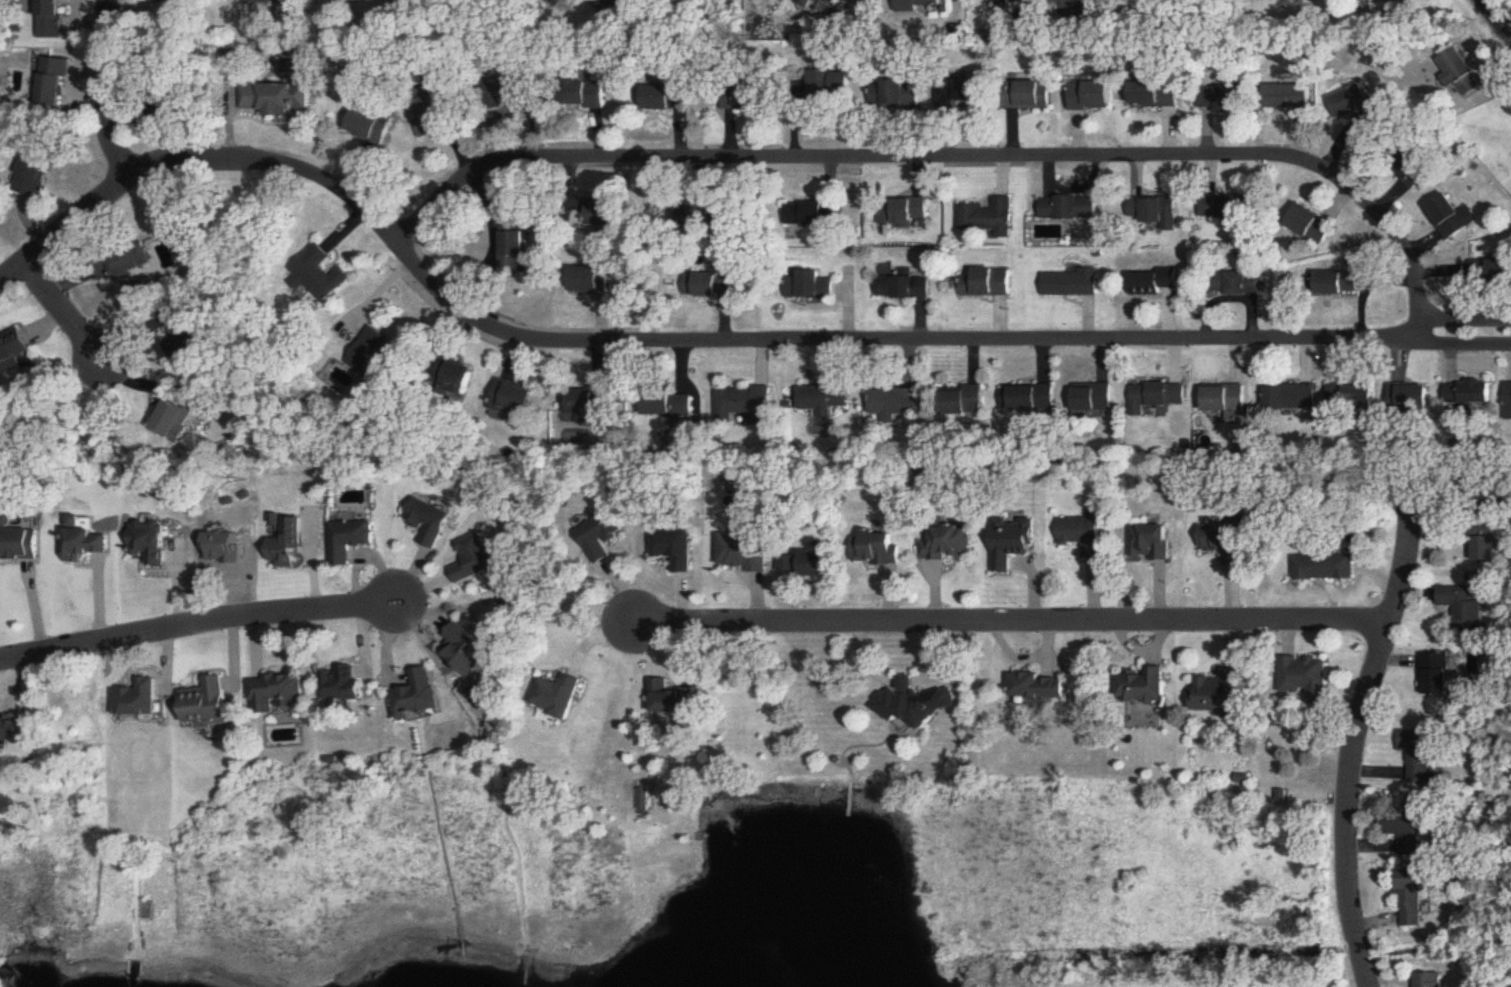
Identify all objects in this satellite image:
building: (1395, 0)
building: (272, 2)
building: (1075, 2)
building: (172, 3)
building: (838, 3)
building: (630, 5)
building: (921, 6)
building: (53, 18)
road: (1494, 19)
building: (1466, 73)
building: (56, 82)
building: (842, 84)
road: (101, 88)
building: (520, 92)
building: (963, 93)
building: (895, 94)
building: (588, 95)
building: (1159, 95)
building: (1028, 96)
building: (1094, 96)
building: (746, 97)
building: (1227, 98)
building: (1286, 98)
building: (276, 99)
building: (670, 99)
building: (1362, 109)
building: (431, 114)
building: (372, 126)
road: (946, 153)
building: (1415, 172)
building: (33, 177)
building: (1071, 208)
building: (1231, 208)
building: (1156, 211)
building: (714, 213)
building: (906, 213)
building: (815, 215)
building: (1454, 217)
building: (993, 218)
building: (1314, 226)
road: (490, 236)
building: (515, 250)
building: (131, 266)
building: (1491, 271)
building: (321, 275)
building: (592, 282)
building: (1153, 282)
building: (989, 283)
building: (1073, 284)
building: (1238, 284)
building: (1340, 284)
building: (717, 286)
building: (809, 286)
building: (907, 289)
road: (66, 310)
road: (704, 336)
building: (193, 341)
building: (15, 355)
building: (375, 356)
building: (462, 379)
building: (1476, 394)
building: (1291, 397)
building: (1030, 398)
building: (1094, 398)
building: (1157, 398)
building: (1354, 398)
building: (516, 400)
building: (826, 400)
building: (1227, 400)
building: (1412, 400)
building: (966, 401)
building: (1508, 402)
building: (589, 403)
building: (744, 404)
building: (897, 404)
building: (674, 406)
building: (180, 416)
building: (432, 523)
building: (1085, 534)
building: (601, 537)
building: (352, 540)
building: (155, 542)
building: (1223, 542)
building: (949, 543)
building: (1014, 543)
building: (1151, 543)
building: (91, 544)
building: (22, 546)
building: (672, 549)
building: (881, 549)
building: (1489, 549)
building: (741, 551)
building: (480, 559)
building: (803, 563)
building: (1323, 568)
building: (1463, 609)
road: (1002, 621)
road: (197, 626)
building: (467, 651)
building: (1303, 673)
building: (1436, 674)
building: (346, 686)
building: (1040, 687)
building: (1144, 688)
building: (279, 693)
building: (1219, 694)
building: (419, 696)
building: (558, 697)
building: (137, 700)
building: (669, 700)
building: (209, 703)
building: (913, 703)
building: (17, 730)
road: (1359, 733)
building: (1417, 753)
building: (1409, 833)
building: (1412, 896)
building: (1430, 980)

